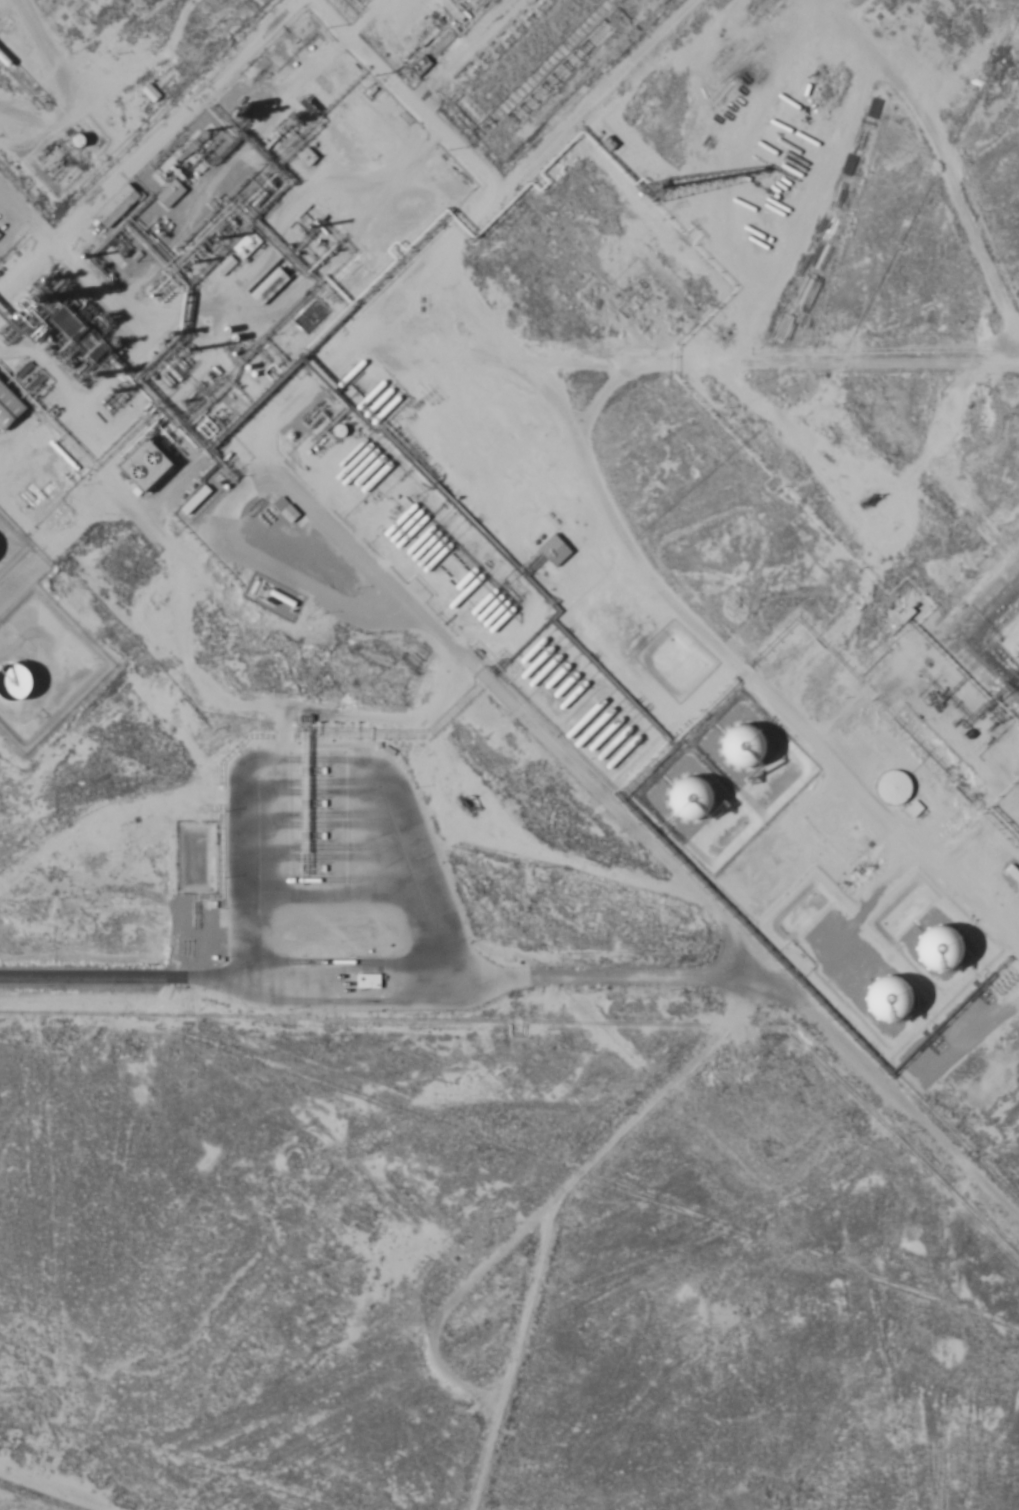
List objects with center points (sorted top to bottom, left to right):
building: (150, 92)
building: (308, 156)
road: (600, 188)
building: (171, 193)
building: (118, 205)
building: (0, 234)
building: (247, 244)
building: (270, 285)
building: (312, 316)
road: (64, 368)
road: (655, 387)
building: (149, 465)
building: (290, 514)
building: (555, 550)
road: (777, 669)
building: (16, 681)
road: (530, 684)
building: (746, 747)
building: (894, 787)
building: (691, 800)
building: (1013, 873)
road: (940, 900)
road: (380, 971)
road: (1006, 977)
building: (368, 980)
road: (545, 1204)
road: (72, 1484)

